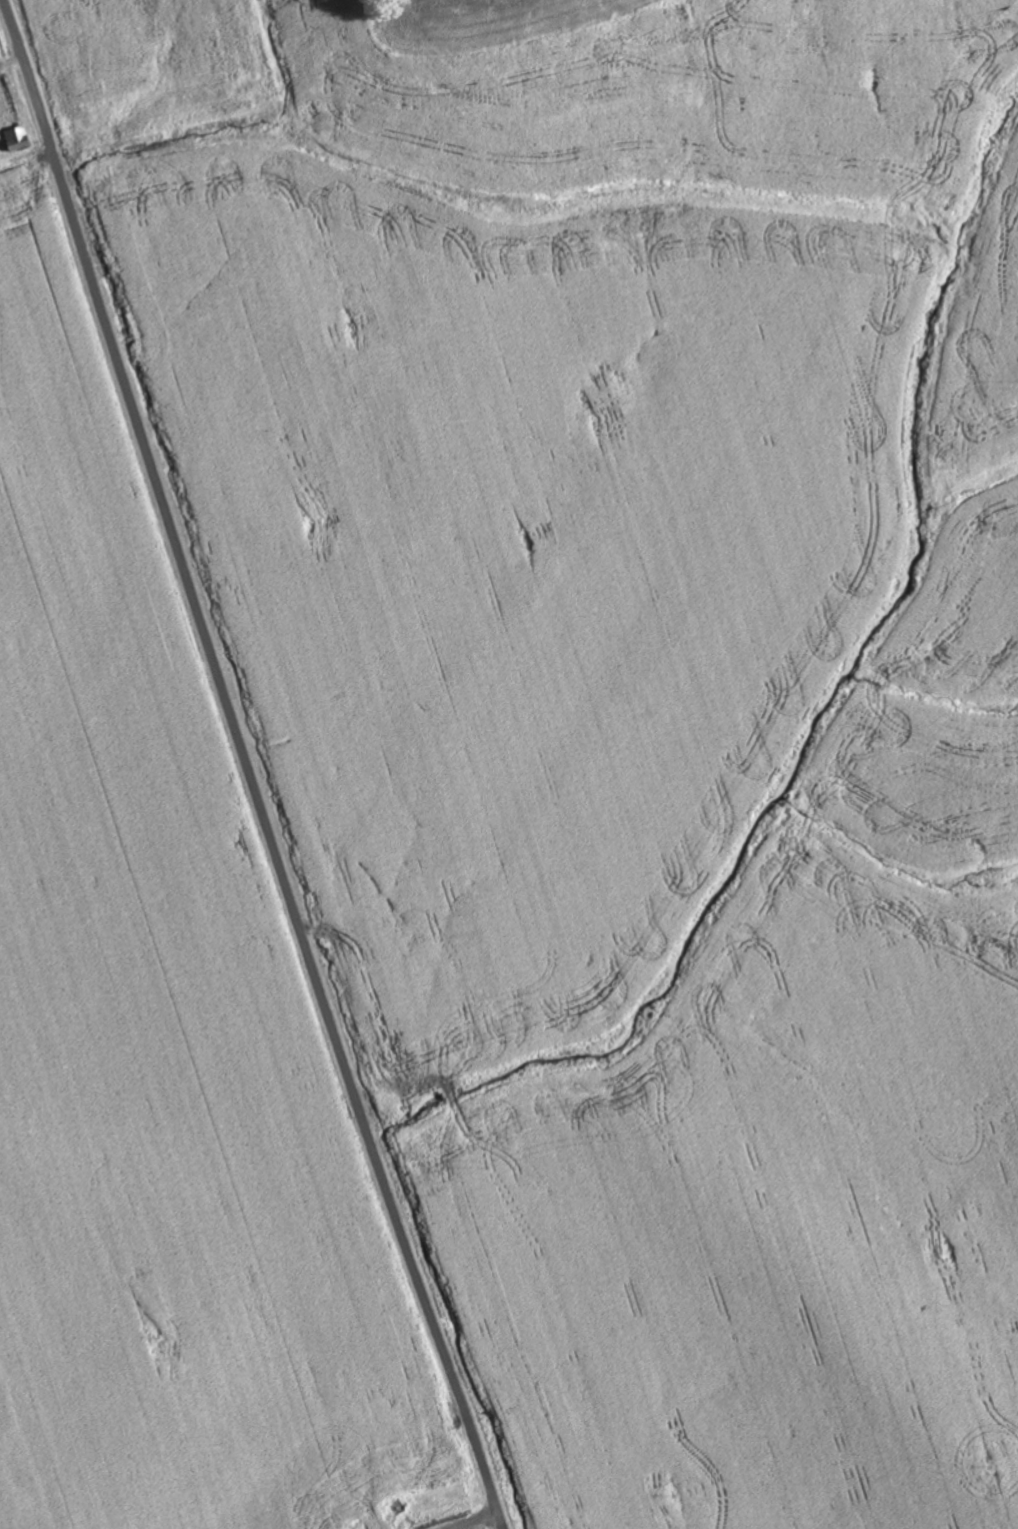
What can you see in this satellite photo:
building: (17, 138)
road: (246, 766)

